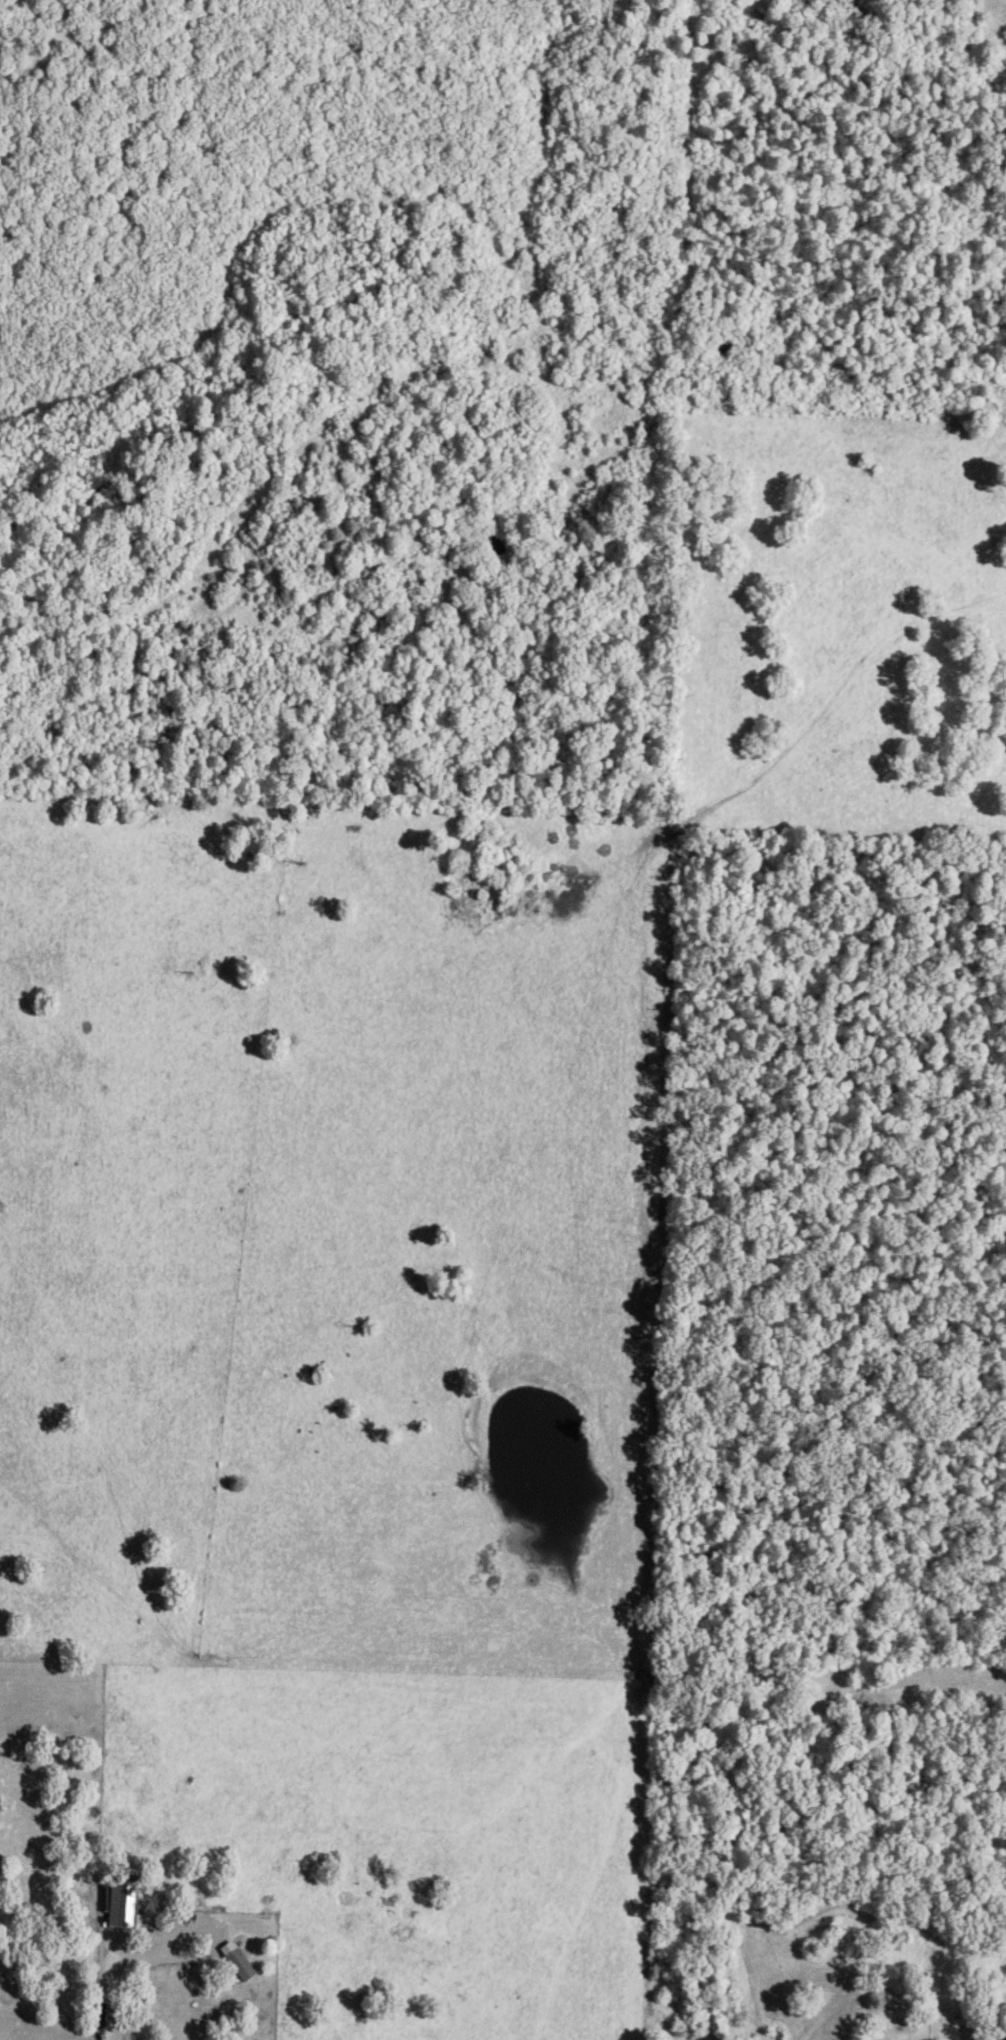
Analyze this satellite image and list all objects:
building: (718, 627)
building: (140, 1921)
building: (237, 1967)
road: (106, 1992)

